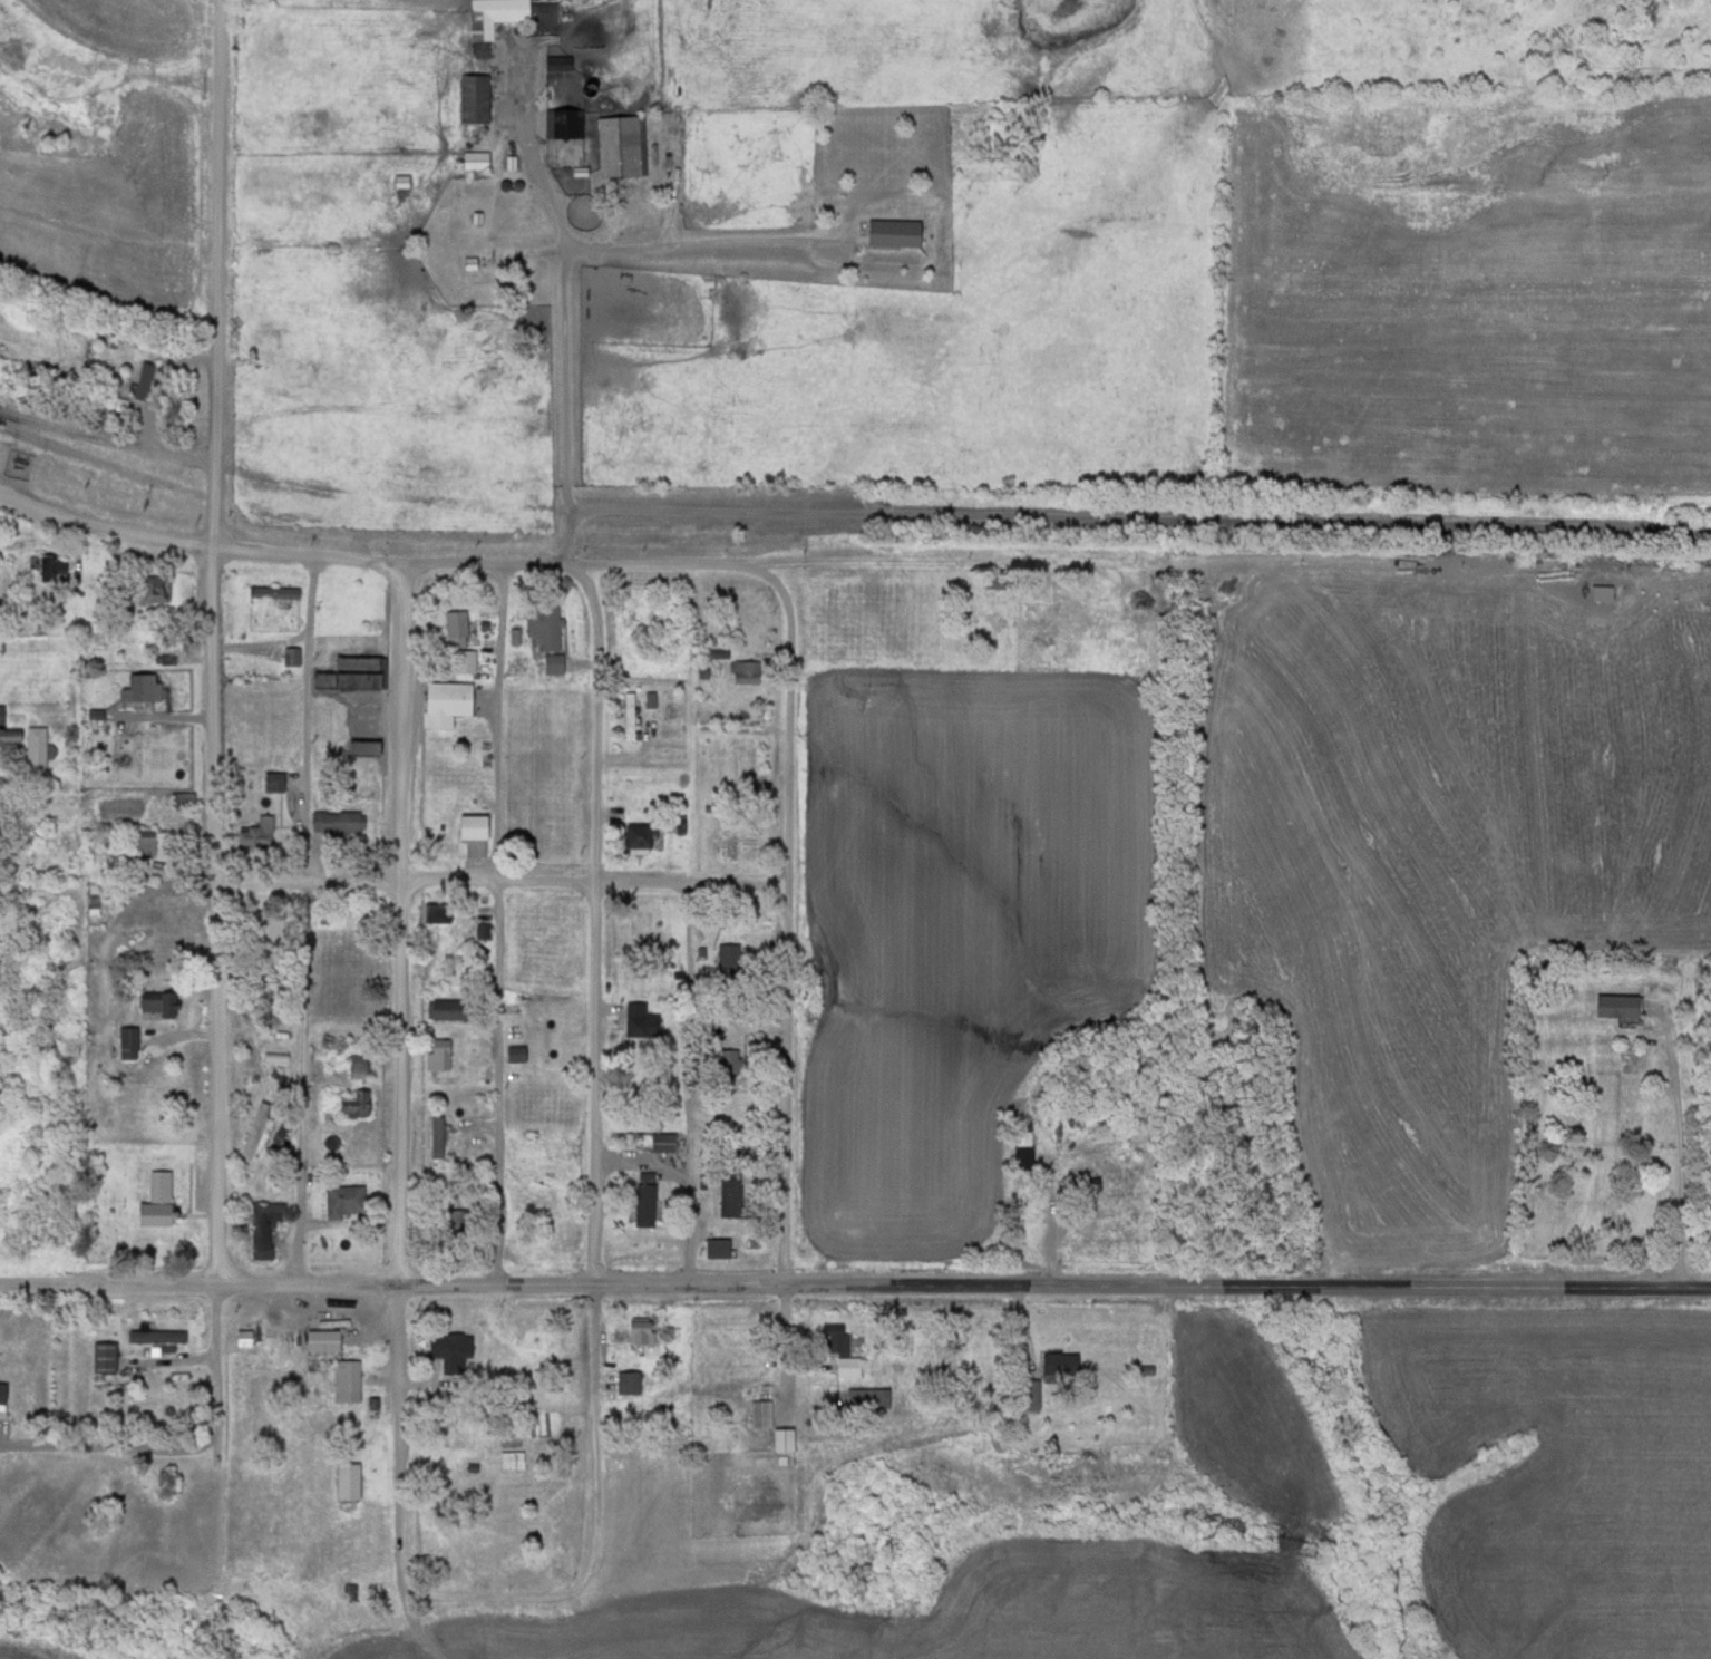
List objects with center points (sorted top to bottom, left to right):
building: (489, 20)
building: (554, 64)
building: (469, 100)
building: (562, 125)
road: (669, 125)
building: (615, 147)
building: (472, 165)
road: (222, 198)
building: (889, 234)
road: (710, 243)
road: (565, 258)
building: (476, 276)
crop: (1465, 298)
building: (140, 379)
building: (114, 406)
road: (1138, 517)
road: (387, 562)
building: (49, 566)
building: (152, 589)
building: (272, 592)
building: (539, 627)
road: (399, 628)
building: (453, 628)
building: (289, 656)
building: (463, 661)
building: (357, 662)
building: (741, 672)
building: (344, 677)
building: (137, 688)
building: (446, 701)
building: (628, 716)
building: (9, 735)
building: (362, 745)
building: (36, 750)
building: (271, 782)
building: (182, 799)
building: (334, 823)
building: (469, 834)
building: (254, 835)
building: (634, 837)
road: (217, 840)
building: (139, 841)
road: (506, 881)
building: (432, 913)
building: (343, 916)
road: (303, 918)
road: (497, 922)
building: (262, 925)
building: (632, 931)
crop: (957, 933)
building: (534, 949)
building: (725, 961)
road: (791, 986)
road: (401, 987)
building: (155, 1005)
building: (1613, 1006)
building: (443, 1009)
building: (639, 1020)
road: (687, 1034)
building: (125, 1042)
building: (513, 1054)
building: (438, 1056)
building: (725, 1063)
building: (356, 1066)
building: (351, 1106)
building: (434, 1137)
building: (1021, 1138)
road: (1680, 1139)
building: (660, 1143)
road: (599, 1163)
road: (689, 1185)
building: (728, 1194)
building: (341, 1201)
building: (153, 1202)
building: (641, 1204)
building: (1022, 1204)
building: (455, 1223)
building: (262, 1228)
building: (712, 1246)
road: (855, 1282)
building: (635, 1331)
building: (241, 1336)
building: (161, 1338)
building: (320, 1340)
building: (837, 1349)
building: (447, 1350)
building: (100, 1358)
building: (1056, 1364)
building: (344, 1380)
building: (625, 1382)
building: (865, 1398)
building: (758, 1415)
building: (780, 1440)
building: (509, 1459)
road: (396, 1474)
building: (480, 1548)

